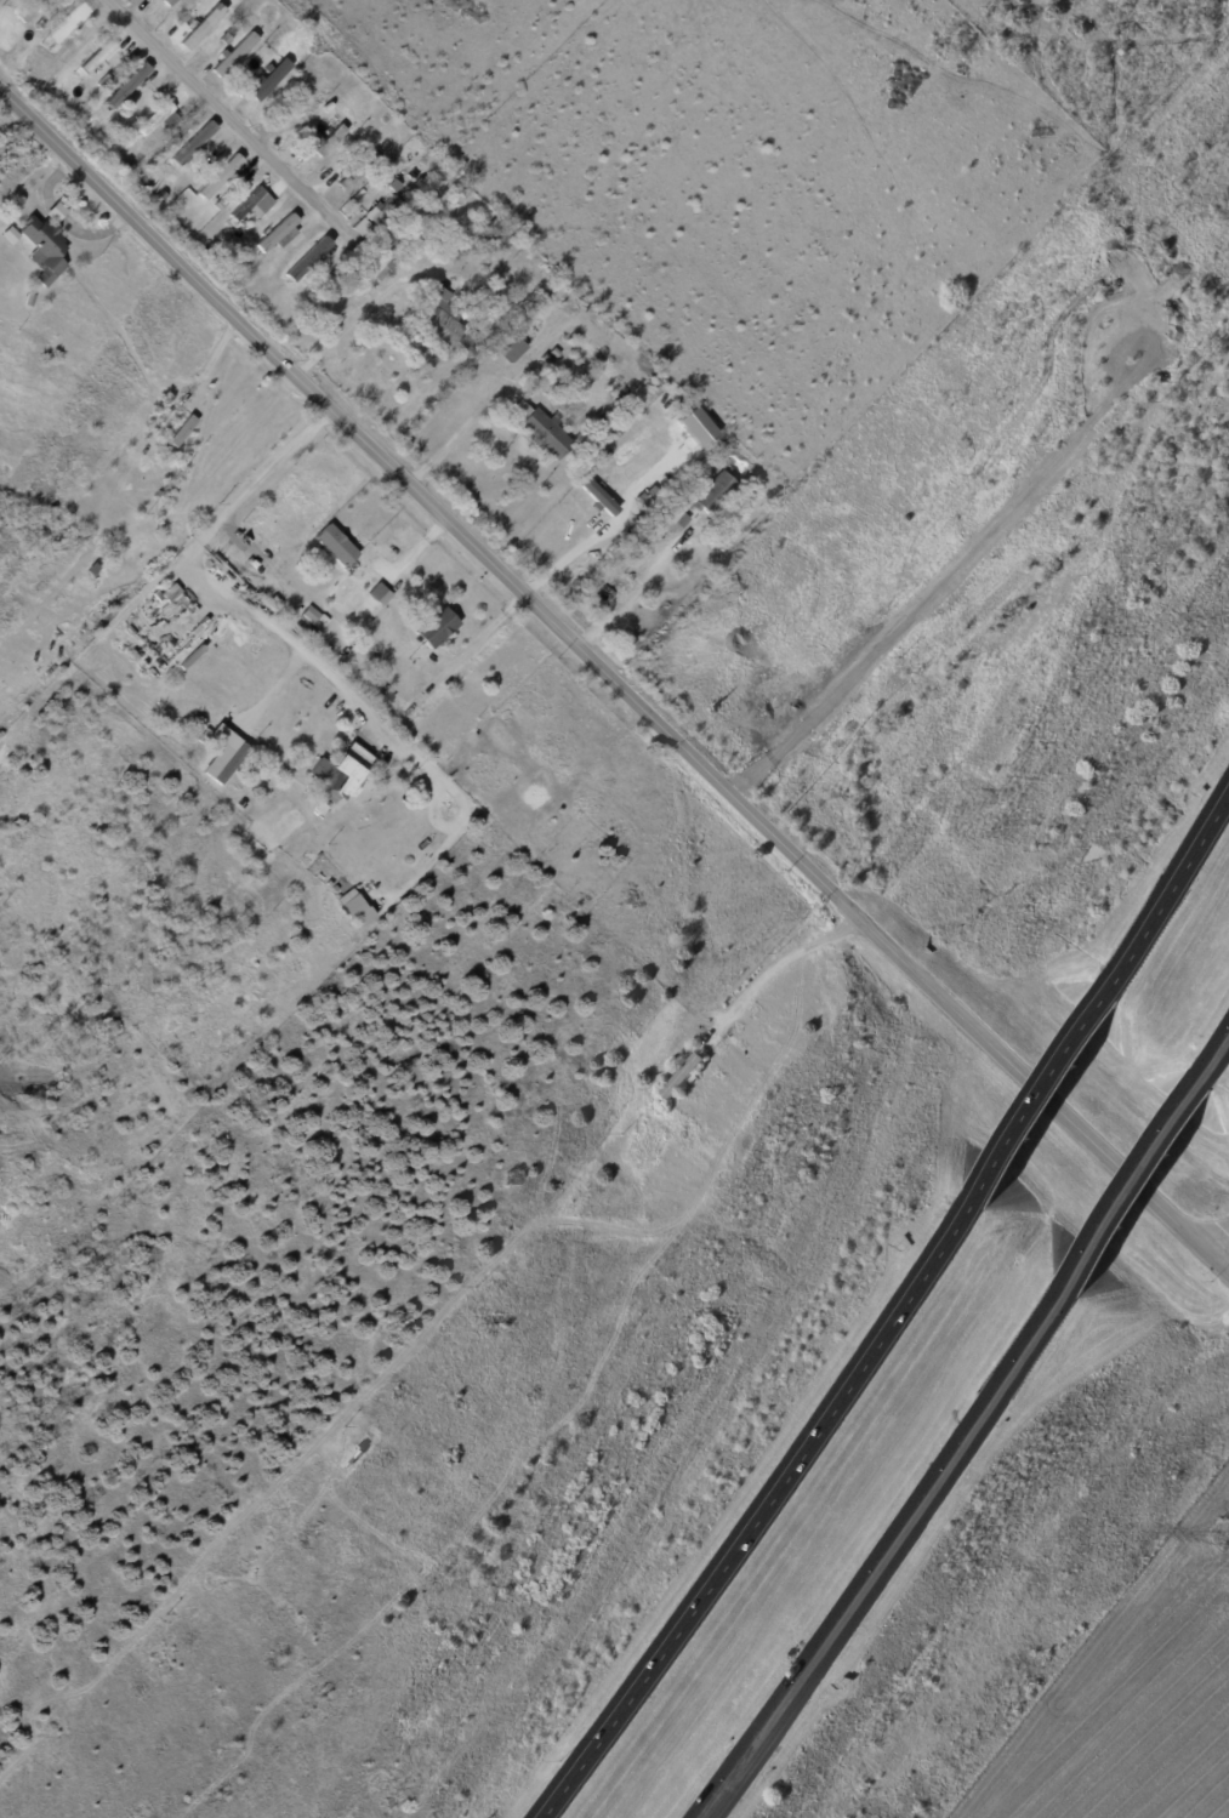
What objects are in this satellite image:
building: (164, 8)
building: (29, 10)
building: (206, 25)
building: (68, 27)
building: (227, 39)
building: (235, 53)
building: (98, 55)
building: (273, 80)
building: (129, 86)
building: (298, 112)
road: (226, 116)
building: (161, 119)
building: (336, 124)
building: (114, 136)
building: (329, 143)
building: (193, 148)
building: (368, 149)
building: (421, 150)
building: (132, 166)
building: (359, 170)
building: (221, 177)
building: (164, 195)
building: (255, 205)
building: (383, 209)
building: (59, 212)
building: (275, 232)
building: (503, 234)
building: (13, 235)
building: (286, 236)
building: (46, 249)
building: (439, 258)
building: (309, 260)
building: (381, 268)
building: (334, 275)
building: (33, 300)
building: (440, 319)
building: (472, 342)
building: (517, 351)
building: (558, 353)
building: (550, 359)
building: (520, 409)
building: (584, 409)
building: (607, 418)
building: (183, 431)
building: (550, 433)
road: (453, 439)
building: (599, 466)
building: (620, 466)
building: (717, 494)
building: (598, 496)
building: (641, 503)
building: (676, 518)
building: (340, 546)
building: (618, 585)
building: (133, 588)
road: (637, 589)
building: (170, 592)
building: (380, 592)
building: (325, 620)
building: (439, 628)
road: (294, 646)
road: (470, 649)
building: (377, 662)
road: (614, 680)
building: (383, 697)
building: (224, 754)
building: (330, 775)
building: (393, 802)
road: (1172, 888)
building: (357, 907)
road: (775, 965)
road: (1214, 1056)
building: (685, 1077)
road: (1043, 1096)
building: (692, 1128)
road: (1132, 1187)
road: (1224, 1252)
road: (762, 1517)
power tower: (1216, 1537)
road: (880, 1556)

